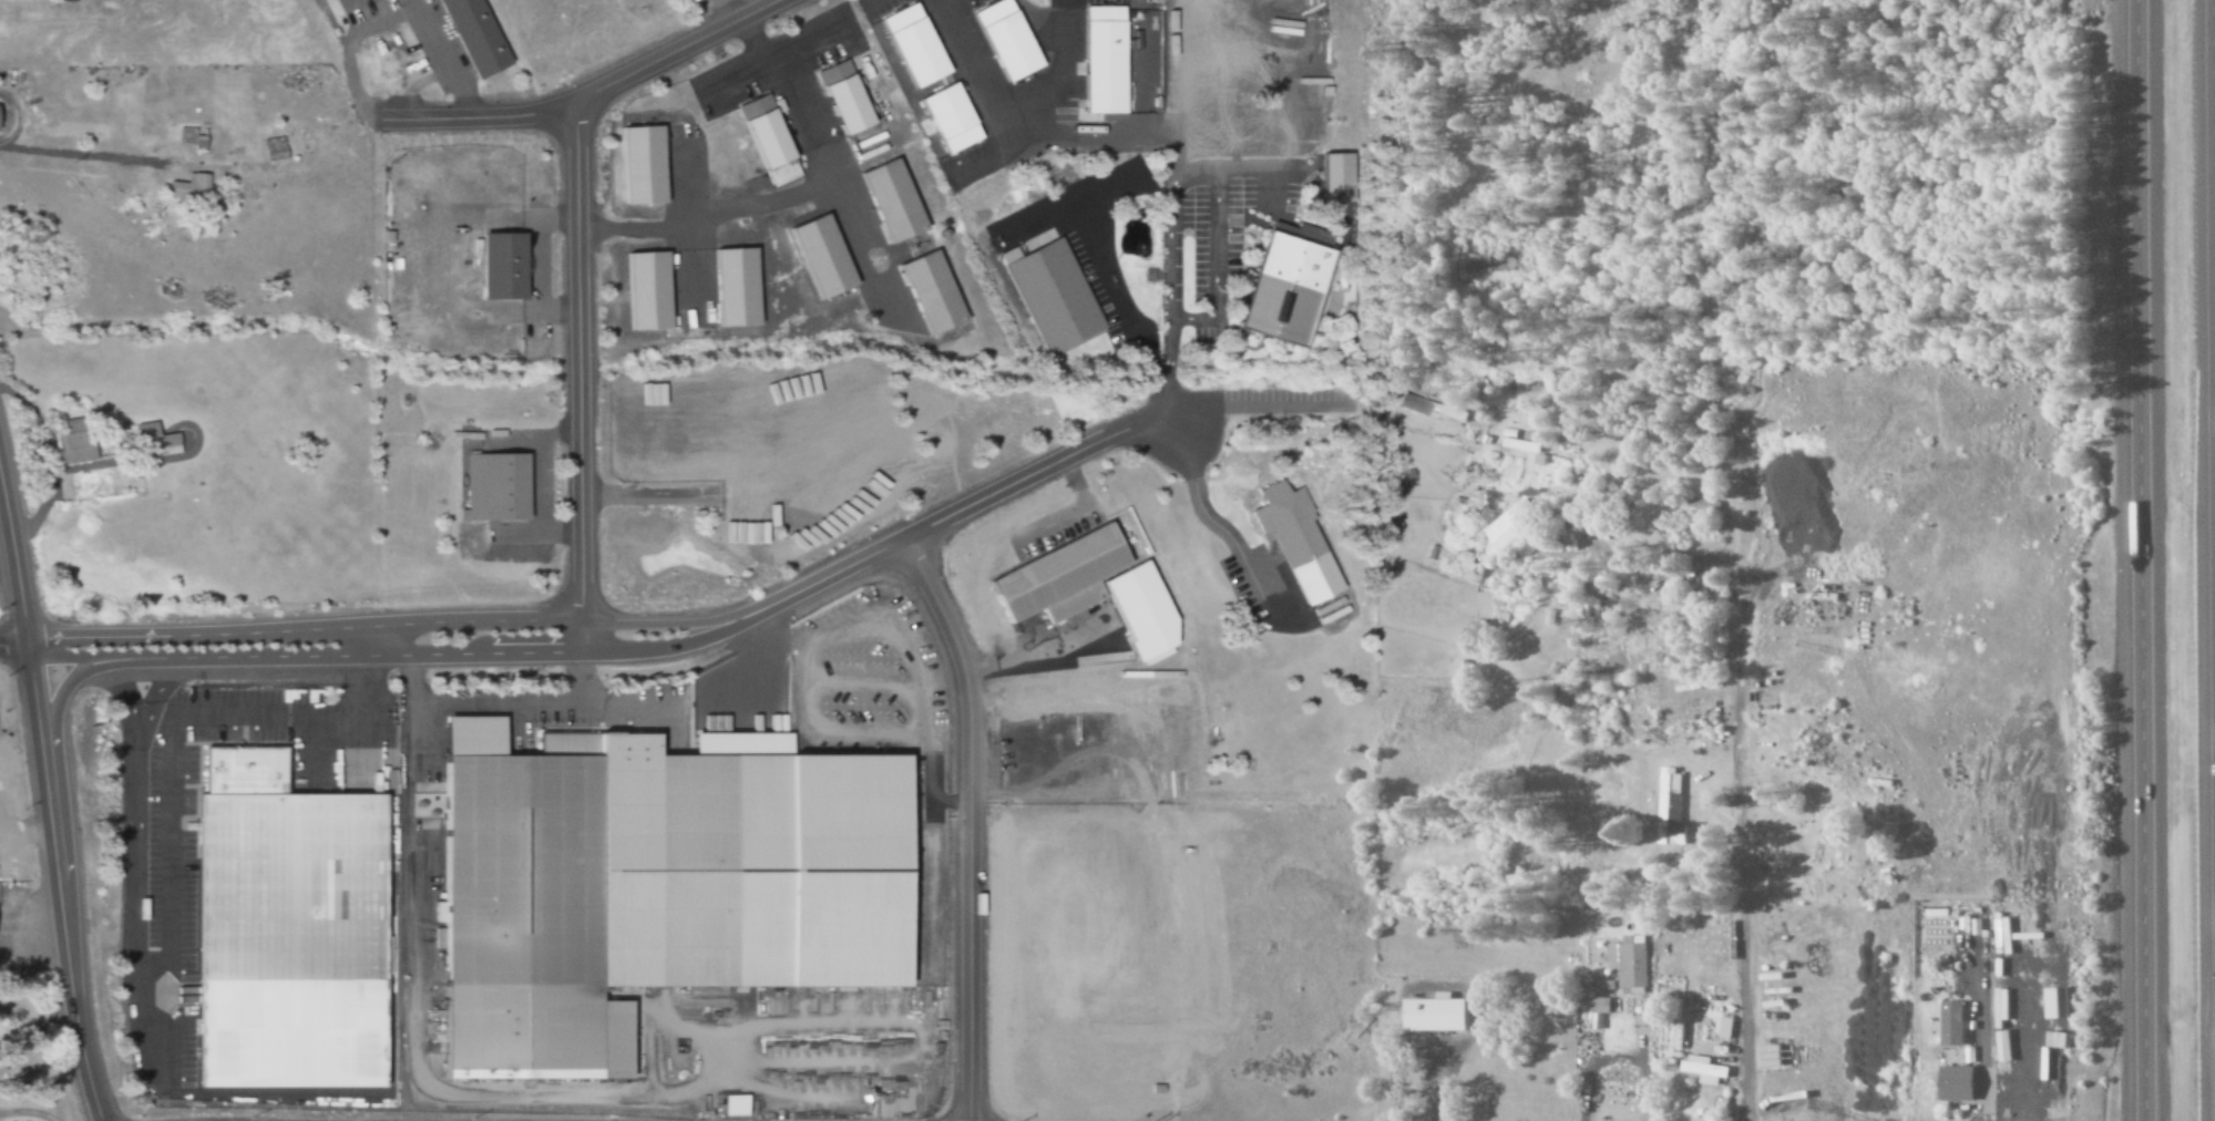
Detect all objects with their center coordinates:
building: (475, 38)
building: (1011, 40)
building: (919, 47)
building: (1107, 61)
road: (589, 93)
building: (848, 99)
building: (954, 120)
building: (186, 136)
building: (771, 141)
building: (275, 150)
building: (646, 166)
building: (1340, 177)
building: (191, 188)
building: (896, 199)
building: (827, 256)
building: (505, 265)
building: (1291, 284)
building: (739, 286)
building: (652, 290)
building: (935, 291)
building: (1054, 296)
road: (576, 371)
building: (1414, 403)
building: (75, 441)
building: (154, 441)
building: (498, 486)
building: (1708, 505)
building: (1510, 526)
building: (1301, 544)
road: (2145, 560)
building: (1064, 577)
road: (634, 639)
road: (13, 649)
road: (47, 802)
building: (1670, 805)
road: (965, 823)
building: (695, 870)
building: (521, 903)
building: (294, 927)
building: (1630, 964)
building: (2052, 1002)
building: (1601, 1006)
building: (1440, 1015)
building: (1949, 1024)
building: (1772, 1056)
building: (1705, 1070)
building: (1951, 1084)
building: (737, 1105)

